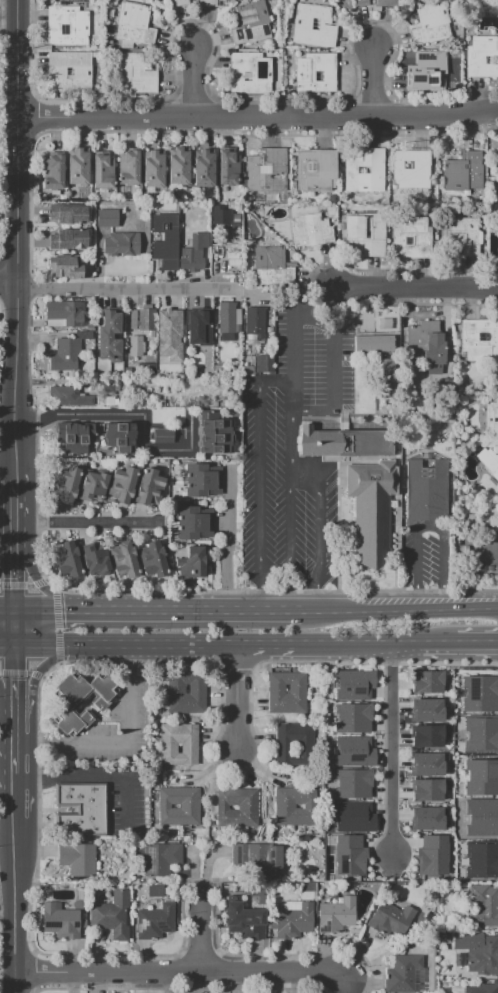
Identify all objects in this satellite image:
building: (496, 1)
building: (183, 3)
building: (210, 3)
building: (363, 3)
building: (388, 3)
road: (17, 7)
road: (8, 15)
building: (253, 24)
building: (434, 24)
building: (69, 25)
building: (136, 25)
building: (315, 26)
building: (483, 58)
building: (71, 71)
building: (138, 73)
building: (252, 73)
building: (317, 73)
building: (430, 73)
road: (193, 81)
road: (374, 81)
road: (257, 119)
building: (497, 150)
building: (80, 167)
building: (181, 167)
building: (131, 168)
building: (205, 169)
building: (231, 169)
building: (414, 169)
building: (156, 170)
building: (315, 170)
building: (270, 171)
building: (105, 172)
building: (367, 172)
building: (466, 172)
building: (55, 174)
building: (184, 210)
building: (68, 215)
building: (218, 217)
building: (106, 218)
building: (235, 221)
building: (313, 230)
building: (369, 235)
building: (463, 237)
building: (414, 238)
building: (69, 239)
building: (164, 240)
road: (16, 244)
building: (120, 244)
building: (193, 252)
building: (69, 265)
building: (272, 266)
road: (8, 278)
road: (415, 286)
road: (121, 289)
building: (65, 311)
building: (227, 318)
building: (194, 319)
building: (141, 320)
building: (255, 322)
building: (384, 324)
building: (168, 333)
building: (110, 337)
building: (479, 339)
building: (427, 341)
road: (293, 343)
building: (374, 343)
building: (135, 345)
road: (333, 347)
road: (313, 348)
building: (65, 354)
building: (263, 364)
building: (147, 367)
building: (384, 377)
road: (273, 380)
building: (106, 384)
building: (67, 396)
road: (311, 410)
road: (133, 414)
building: (491, 417)
building: (215, 426)
road: (288, 428)
building: (120, 429)
building: (163, 435)
building: (215, 437)
building: (82, 440)
building: (69, 441)
building: (121, 443)
building: (344, 443)
building: (215, 449)
parking lot: (294, 452)
road: (7, 462)
building: (493, 466)
road: (259, 471)
road: (303, 477)
building: (201, 480)
building: (67, 484)
building: (122, 484)
building: (93, 485)
building: (149, 487)
building: (425, 489)
building: (370, 508)
road: (15, 513)
building: (192, 522)
road: (83, 523)
road: (288, 524)
road: (429, 527)
road: (319, 531)
road: (164, 539)
road: (227, 541)
parking lot: (427, 556)
road: (7, 559)
building: (95, 559)
building: (68, 560)
building: (124, 560)
building: (153, 561)
building: (191, 563)
road: (275, 577)
road: (16, 580)
road: (36, 580)
road: (39, 582)
road: (13, 585)
road: (29, 585)
road: (260, 587)
road: (269, 591)
road: (320, 598)
road: (8, 610)
road: (157, 610)
road: (409, 610)
road: (309, 611)
road: (56, 625)
road: (16, 627)
road: (279, 640)
road: (385, 640)
road: (474, 640)
road: (127, 644)
road: (8, 645)
road: (129, 655)
road: (122, 661)
road: (376, 662)
road: (232, 664)
road: (13, 671)
road: (28, 672)
road: (36, 672)
road: (17, 673)
road: (35, 674)
building: (425, 681)
building: (353, 684)
building: (199, 688)
building: (298, 689)
building: (480, 693)
road: (8, 694)
road: (237, 695)
building: (67, 707)
building: (424, 710)
building: (351, 717)
building: (482, 733)
road: (16, 734)
building: (425, 736)
road: (34, 742)
road: (128, 742)
road: (388, 743)
building: (306, 747)
building: (190, 748)
building: (353, 751)
building: (425, 764)
building: (482, 777)
road: (71, 778)
building: (352, 783)
building: (425, 789)
road: (16, 797)
road: (126, 806)
building: (188, 806)
building: (247, 806)
building: (284, 806)
building: (81, 809)
building: (352, 816)
building: (482, 817)
building: (425, 818)
road: (8, 830)
building: (457, 853)
building: (348, 855)
building: (431, 855)
building: (77, 858)
building: (160, 858)
building: (259, 858)
building: (482, 859)
building: (349, 887)
building: (152, 890)
building: (79, 894)
building: (310, 896)
building: (290, 906)
building: (483, 906)
road: (16, 911)
road: (8, 914)
building: (111, 915)
building: (336, 915)
building: (243, 920)
building: (390, 920)
building: (59, 921)
building: (155, 921)
building: (294, 922)
road: (203, 929)
building: (478, 952)
road: (181, 972)
building: (404, 975)
road: (347, 983)
building: (480, 988)

